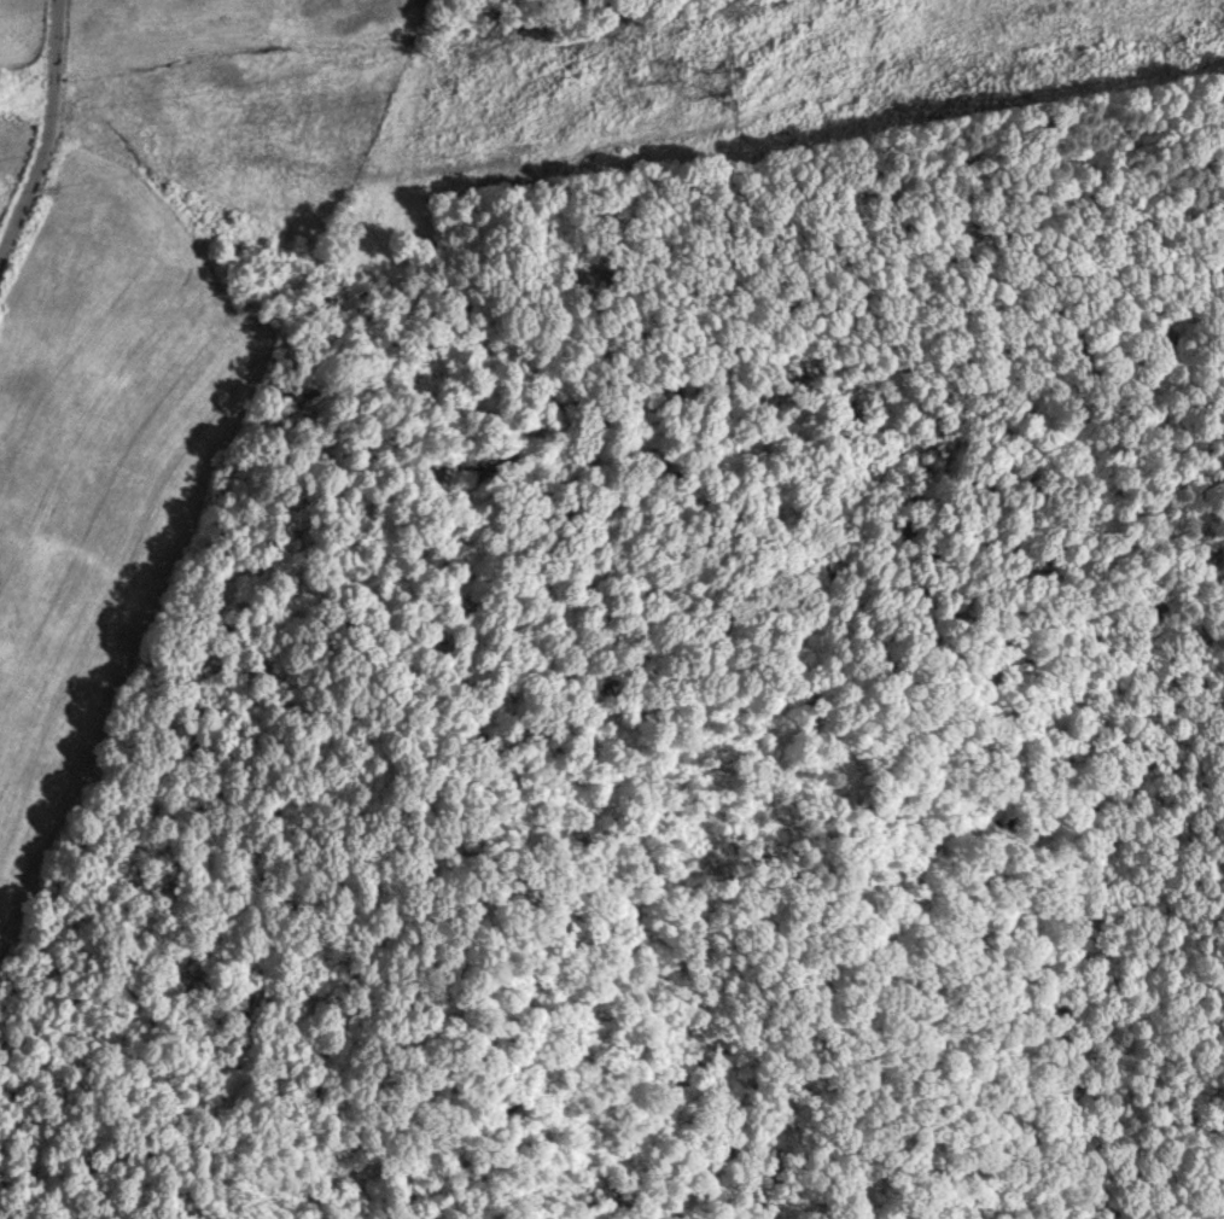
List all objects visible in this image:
power tower: (732, 100)
road: (40, 123)

